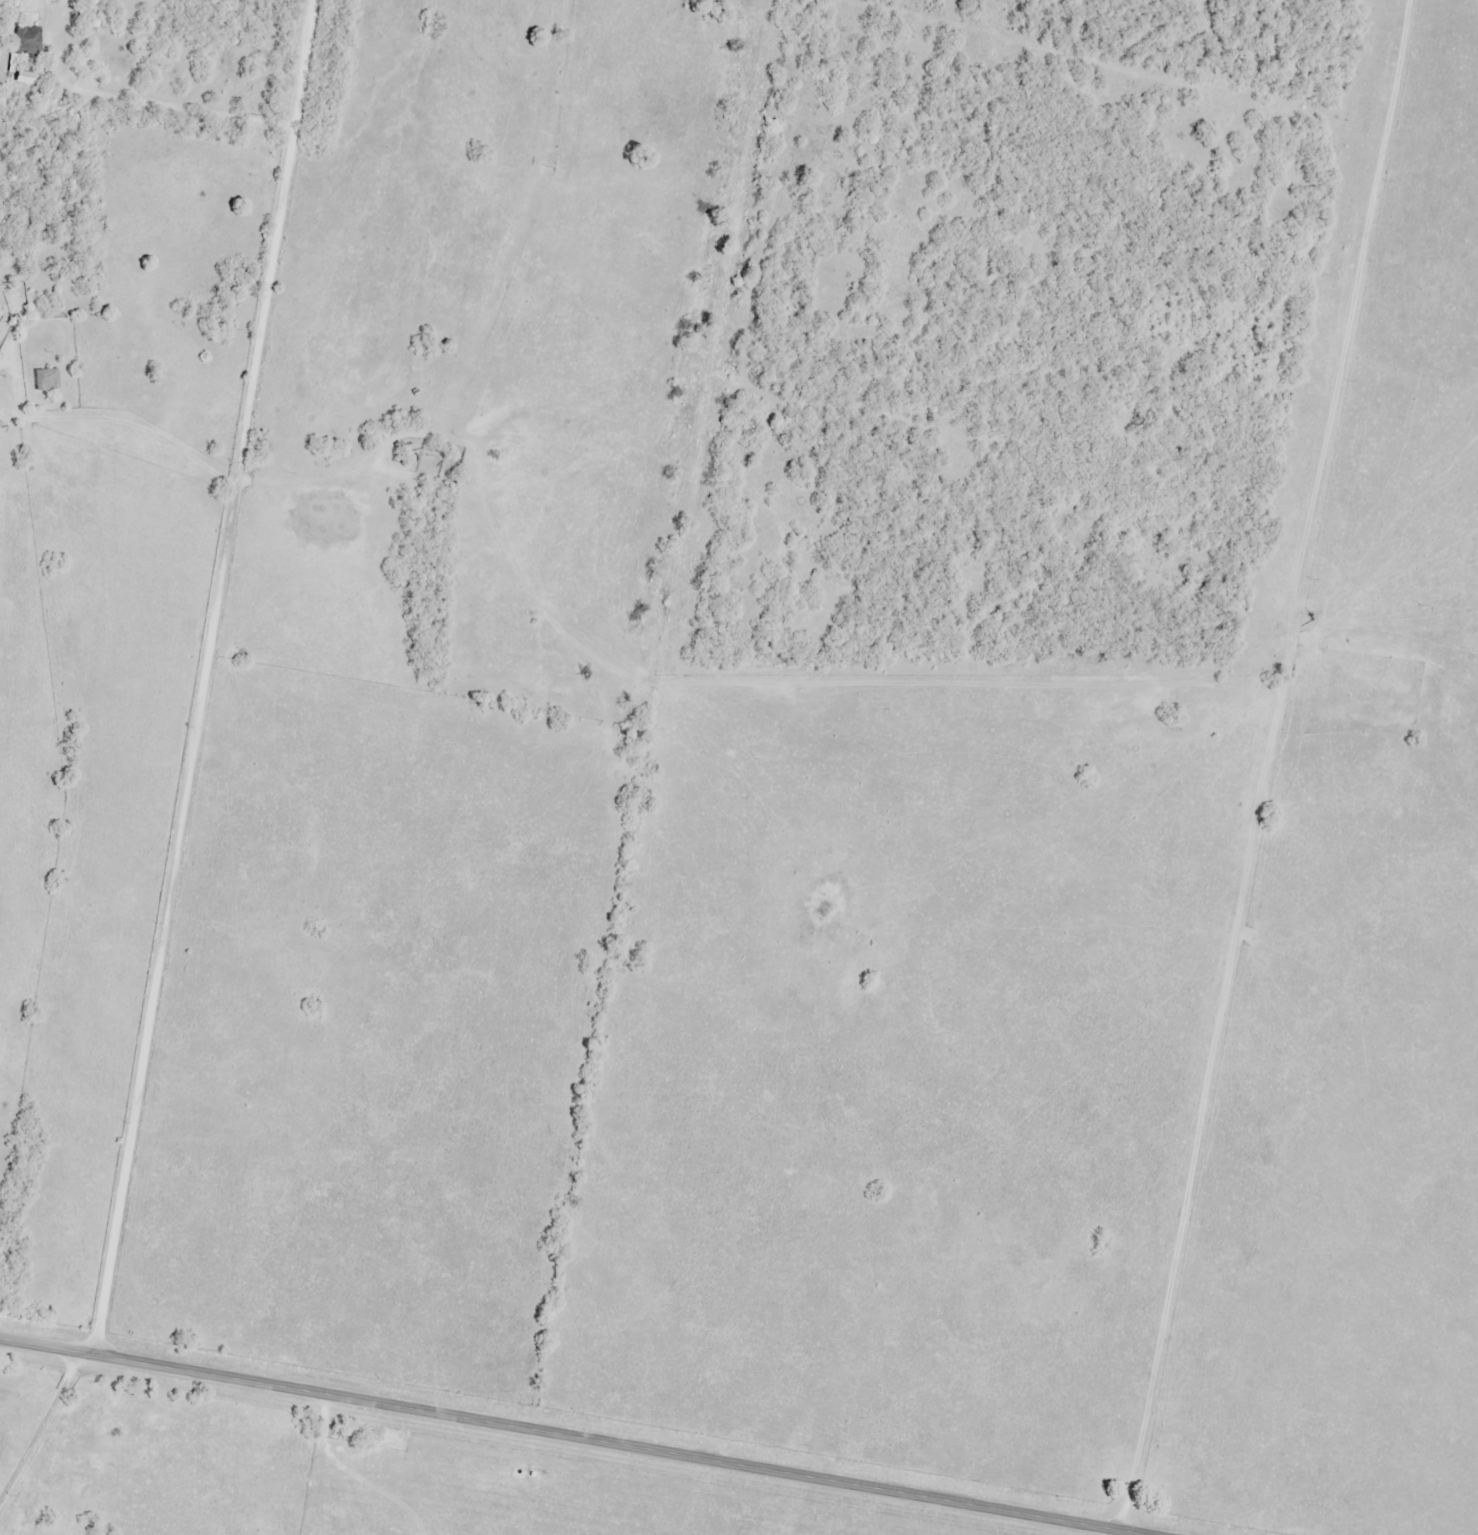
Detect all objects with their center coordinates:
building: (28, 41)
road: (129, 110)
building: (46, 381)
road: (203, 677)
road: (40, 1425)
road: (573, 1436)

